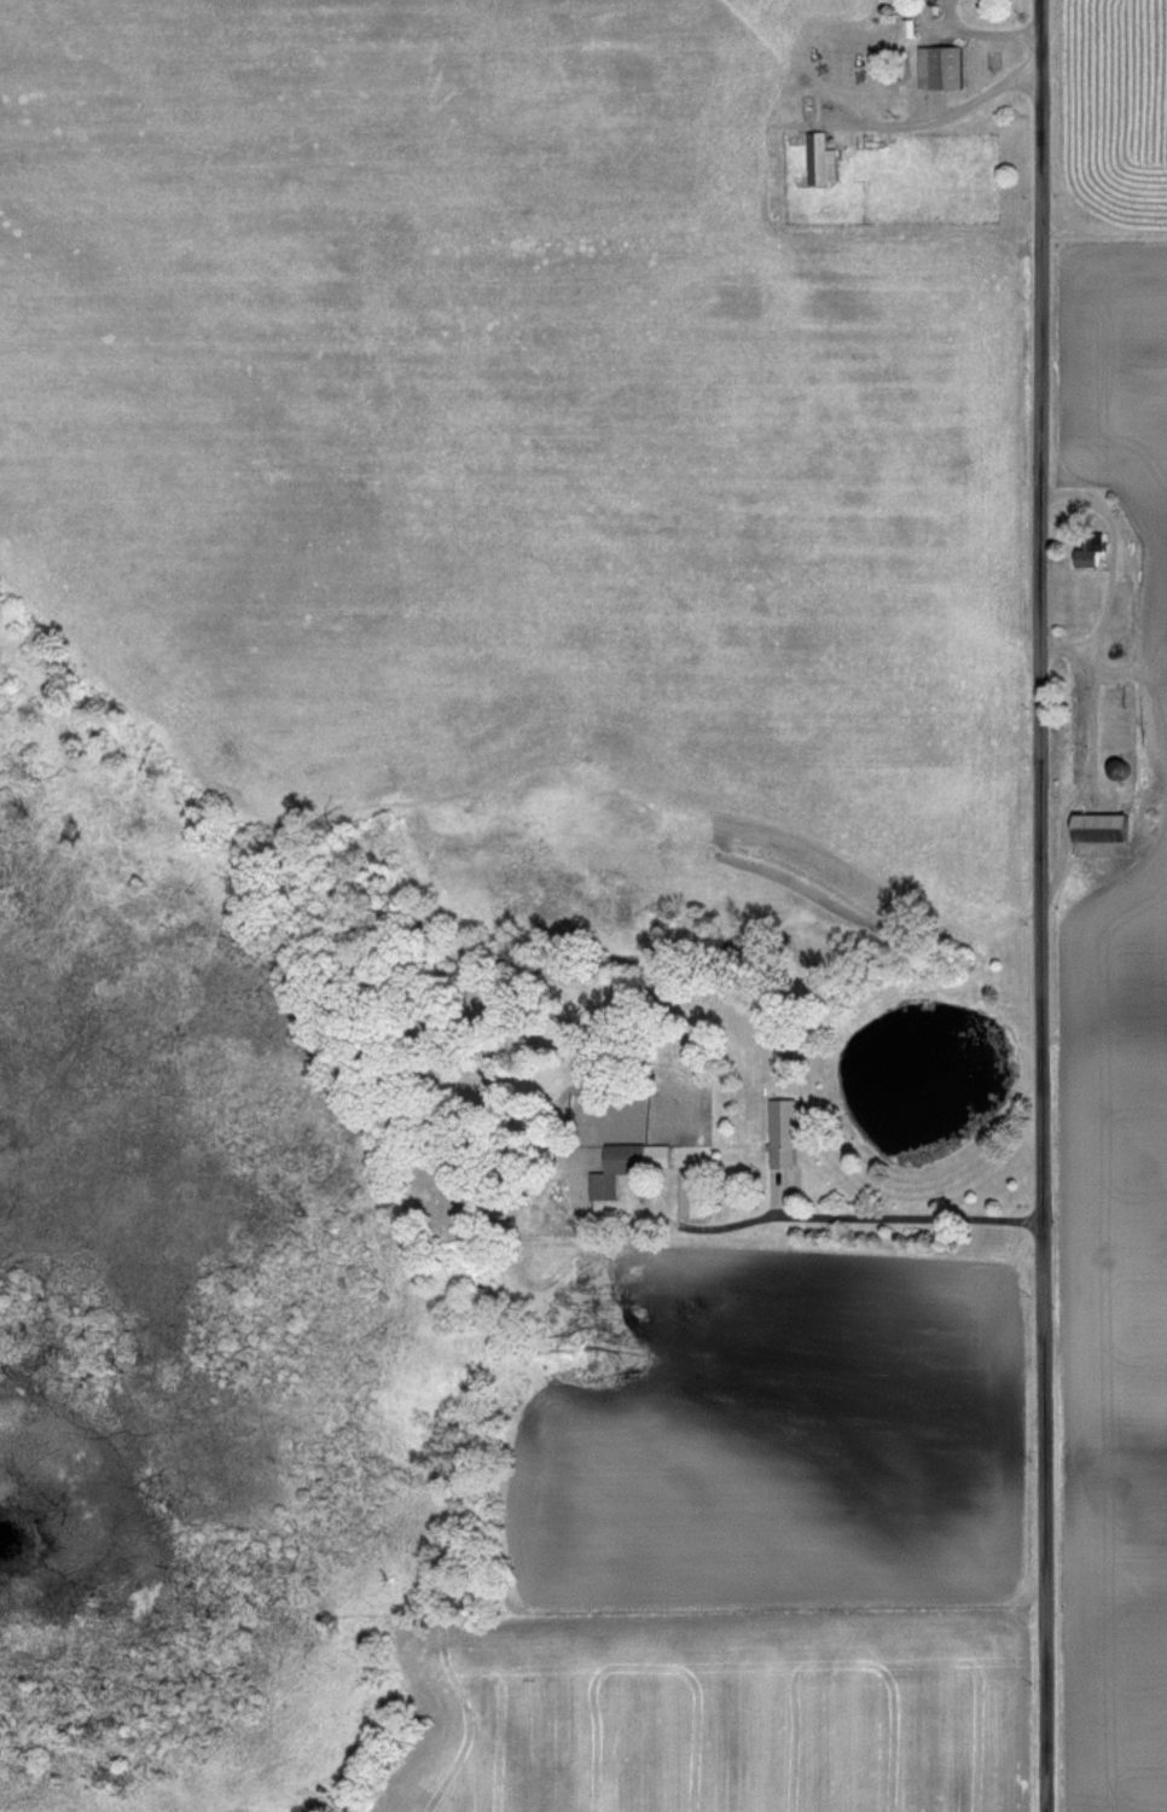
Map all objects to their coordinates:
building: (939, 68)
building: (815, 159)
building: (1086, 553)
road: (1110, 565)
building: (1116, 716)
building: (1096, 829)
road: (1040, 905)
building: (779, 1133)
building: (621, 1167)
building: (686, 1194)
road: (883, 1200)

